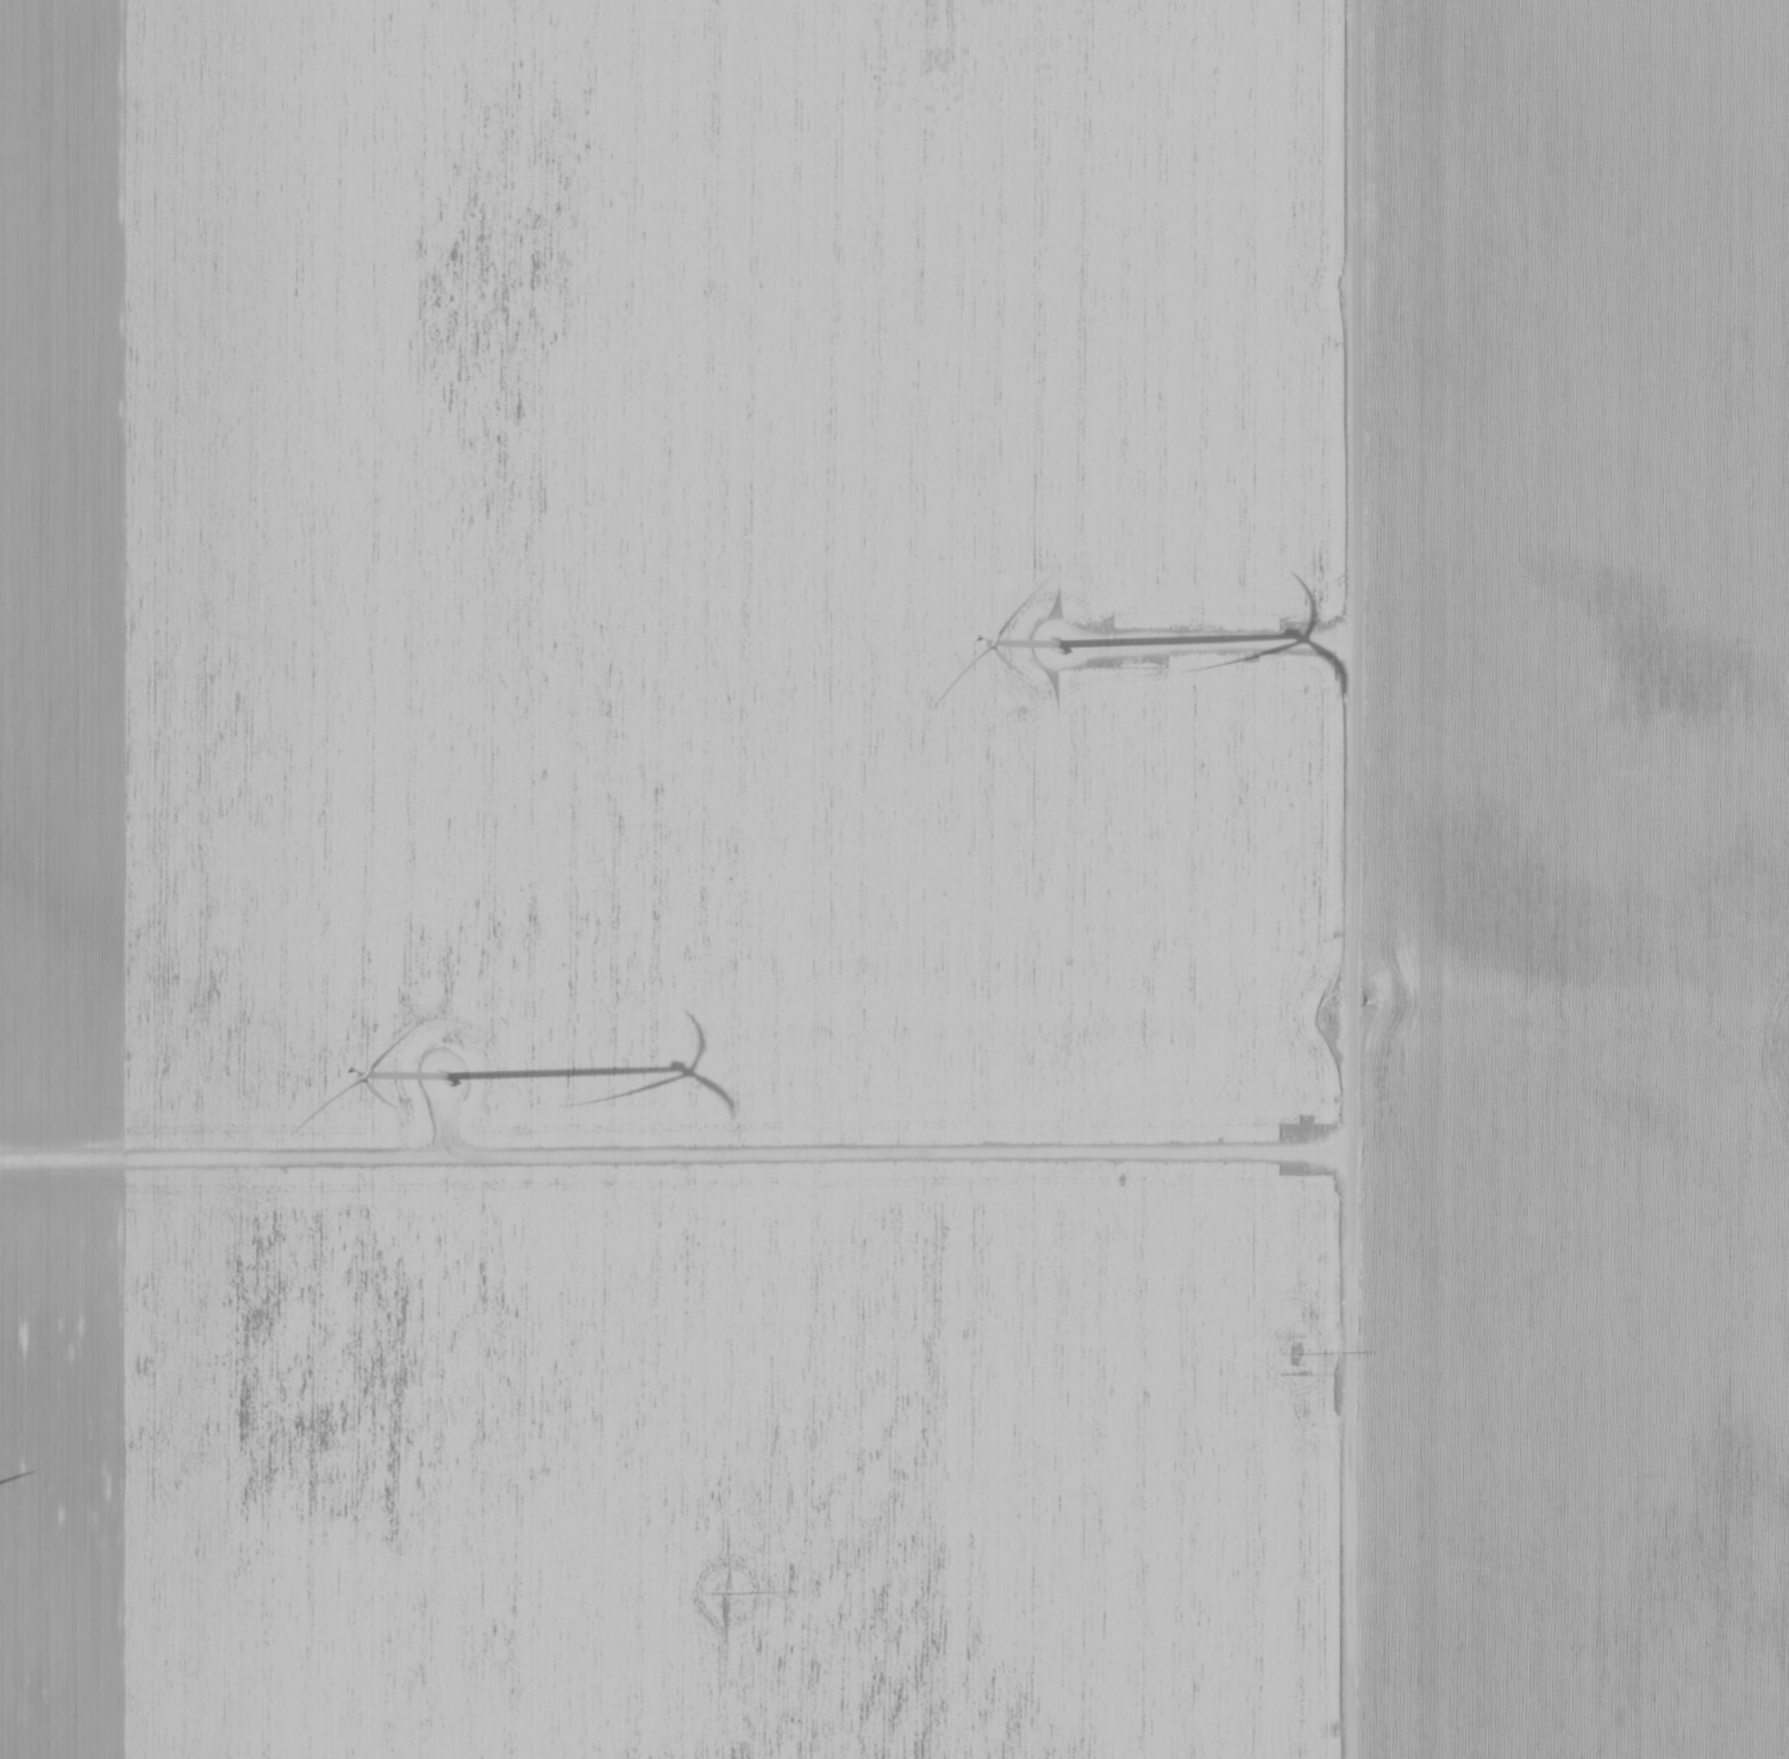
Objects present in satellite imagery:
wind turbine: (1038, 644)
road: (1351, 880)
wind turbine: (438, 1064)
power tower: (1295, 1356)
power tower: (724, 1594)

